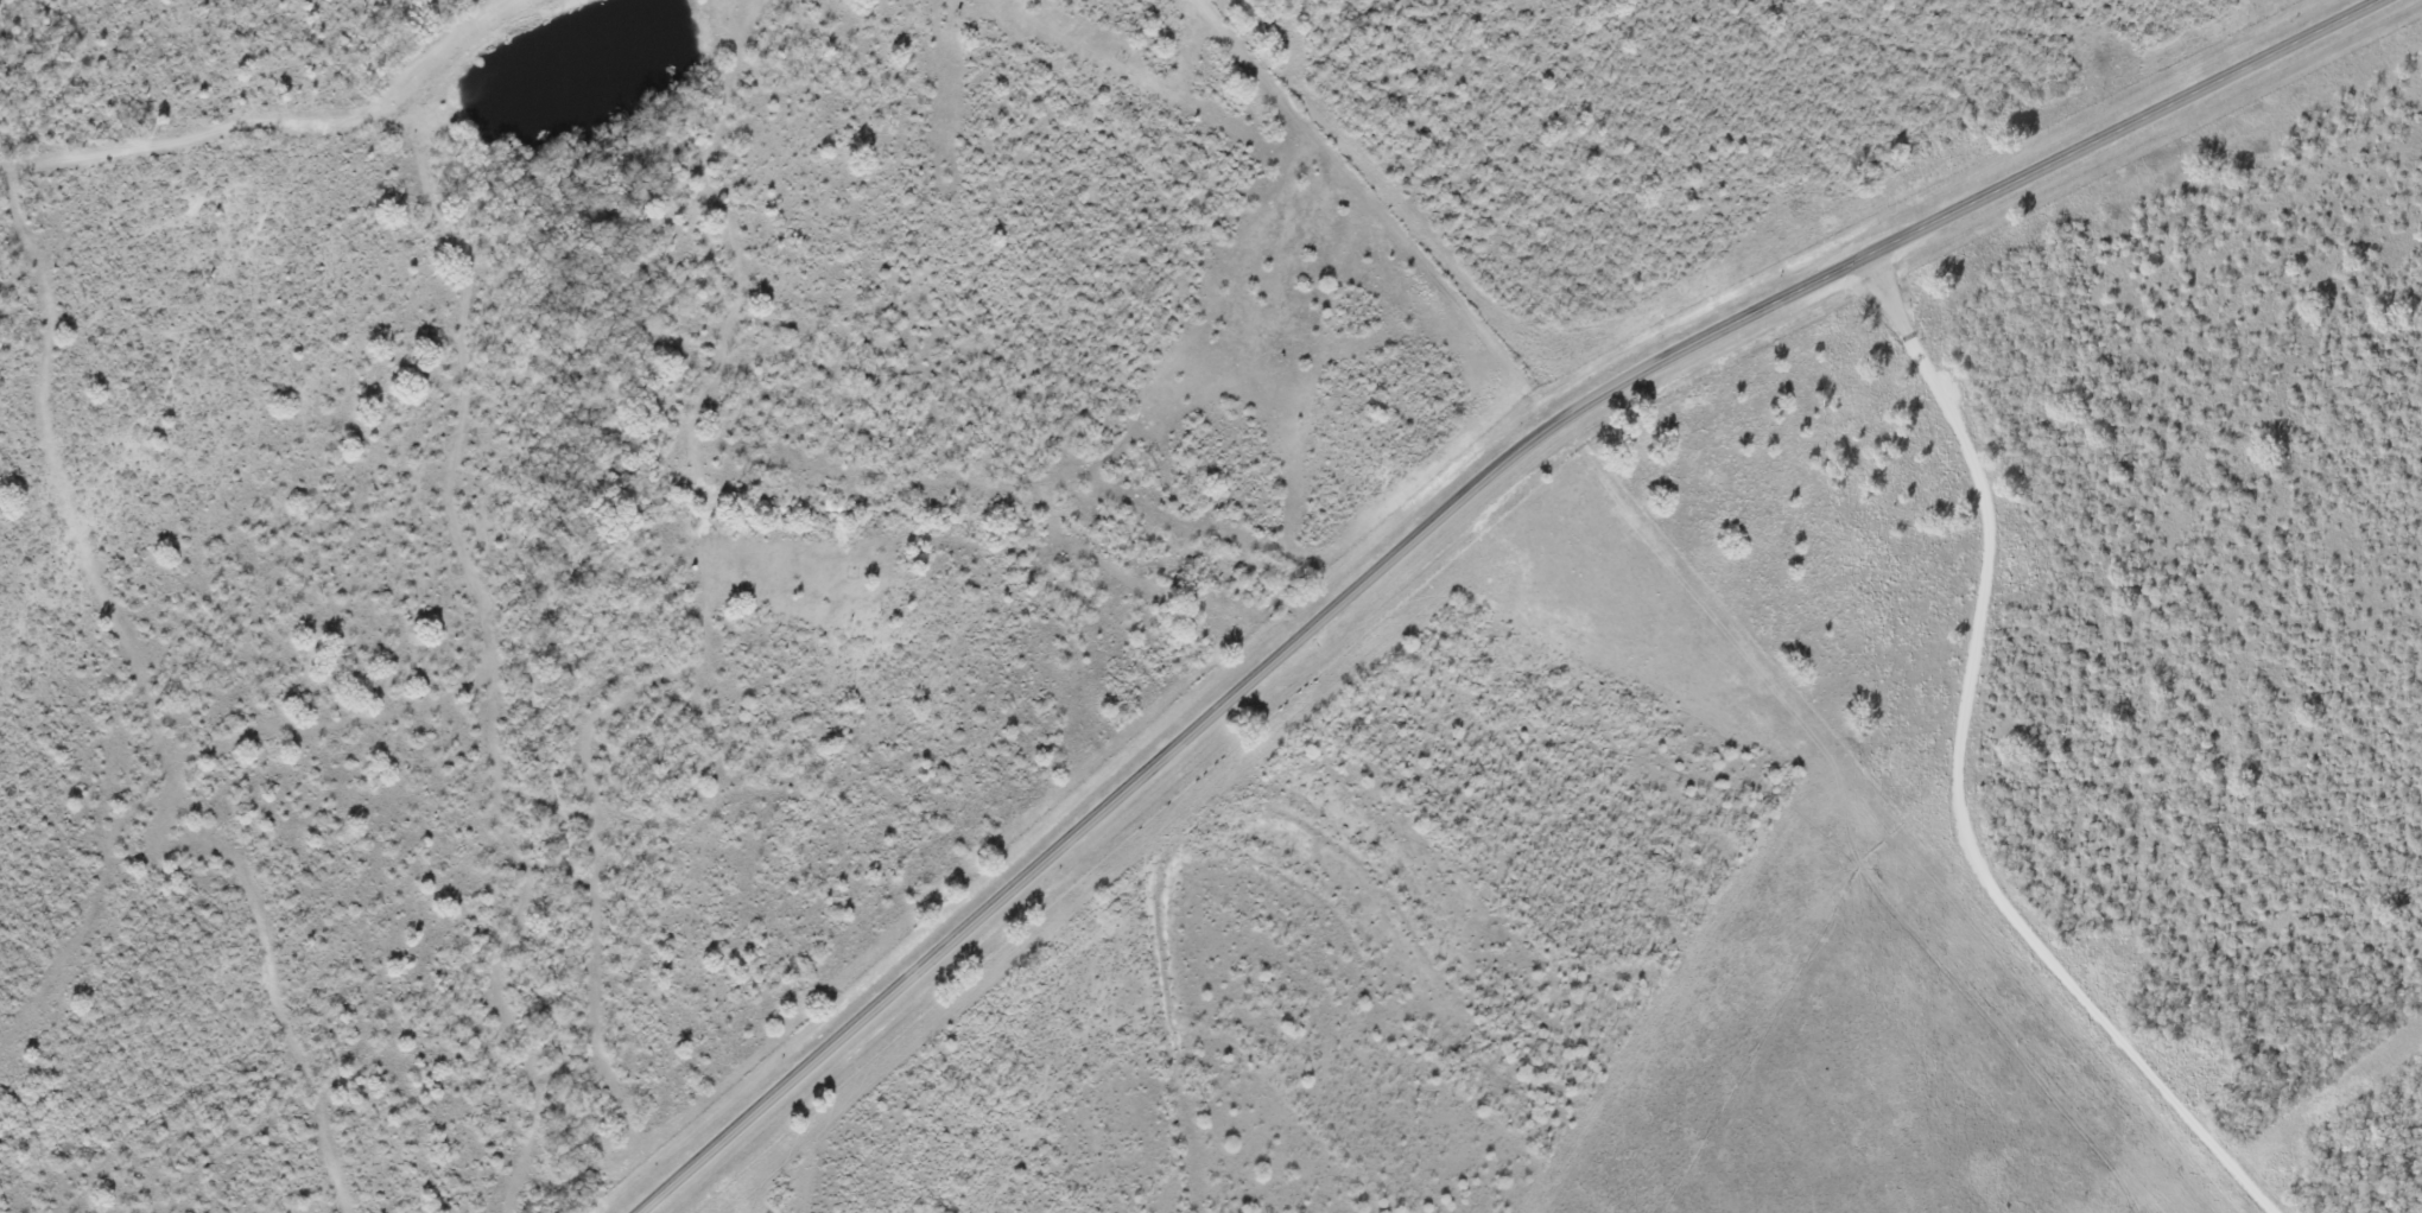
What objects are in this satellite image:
road: (1369, 210)
road: (1441, 507)
road: (1963, 777)

